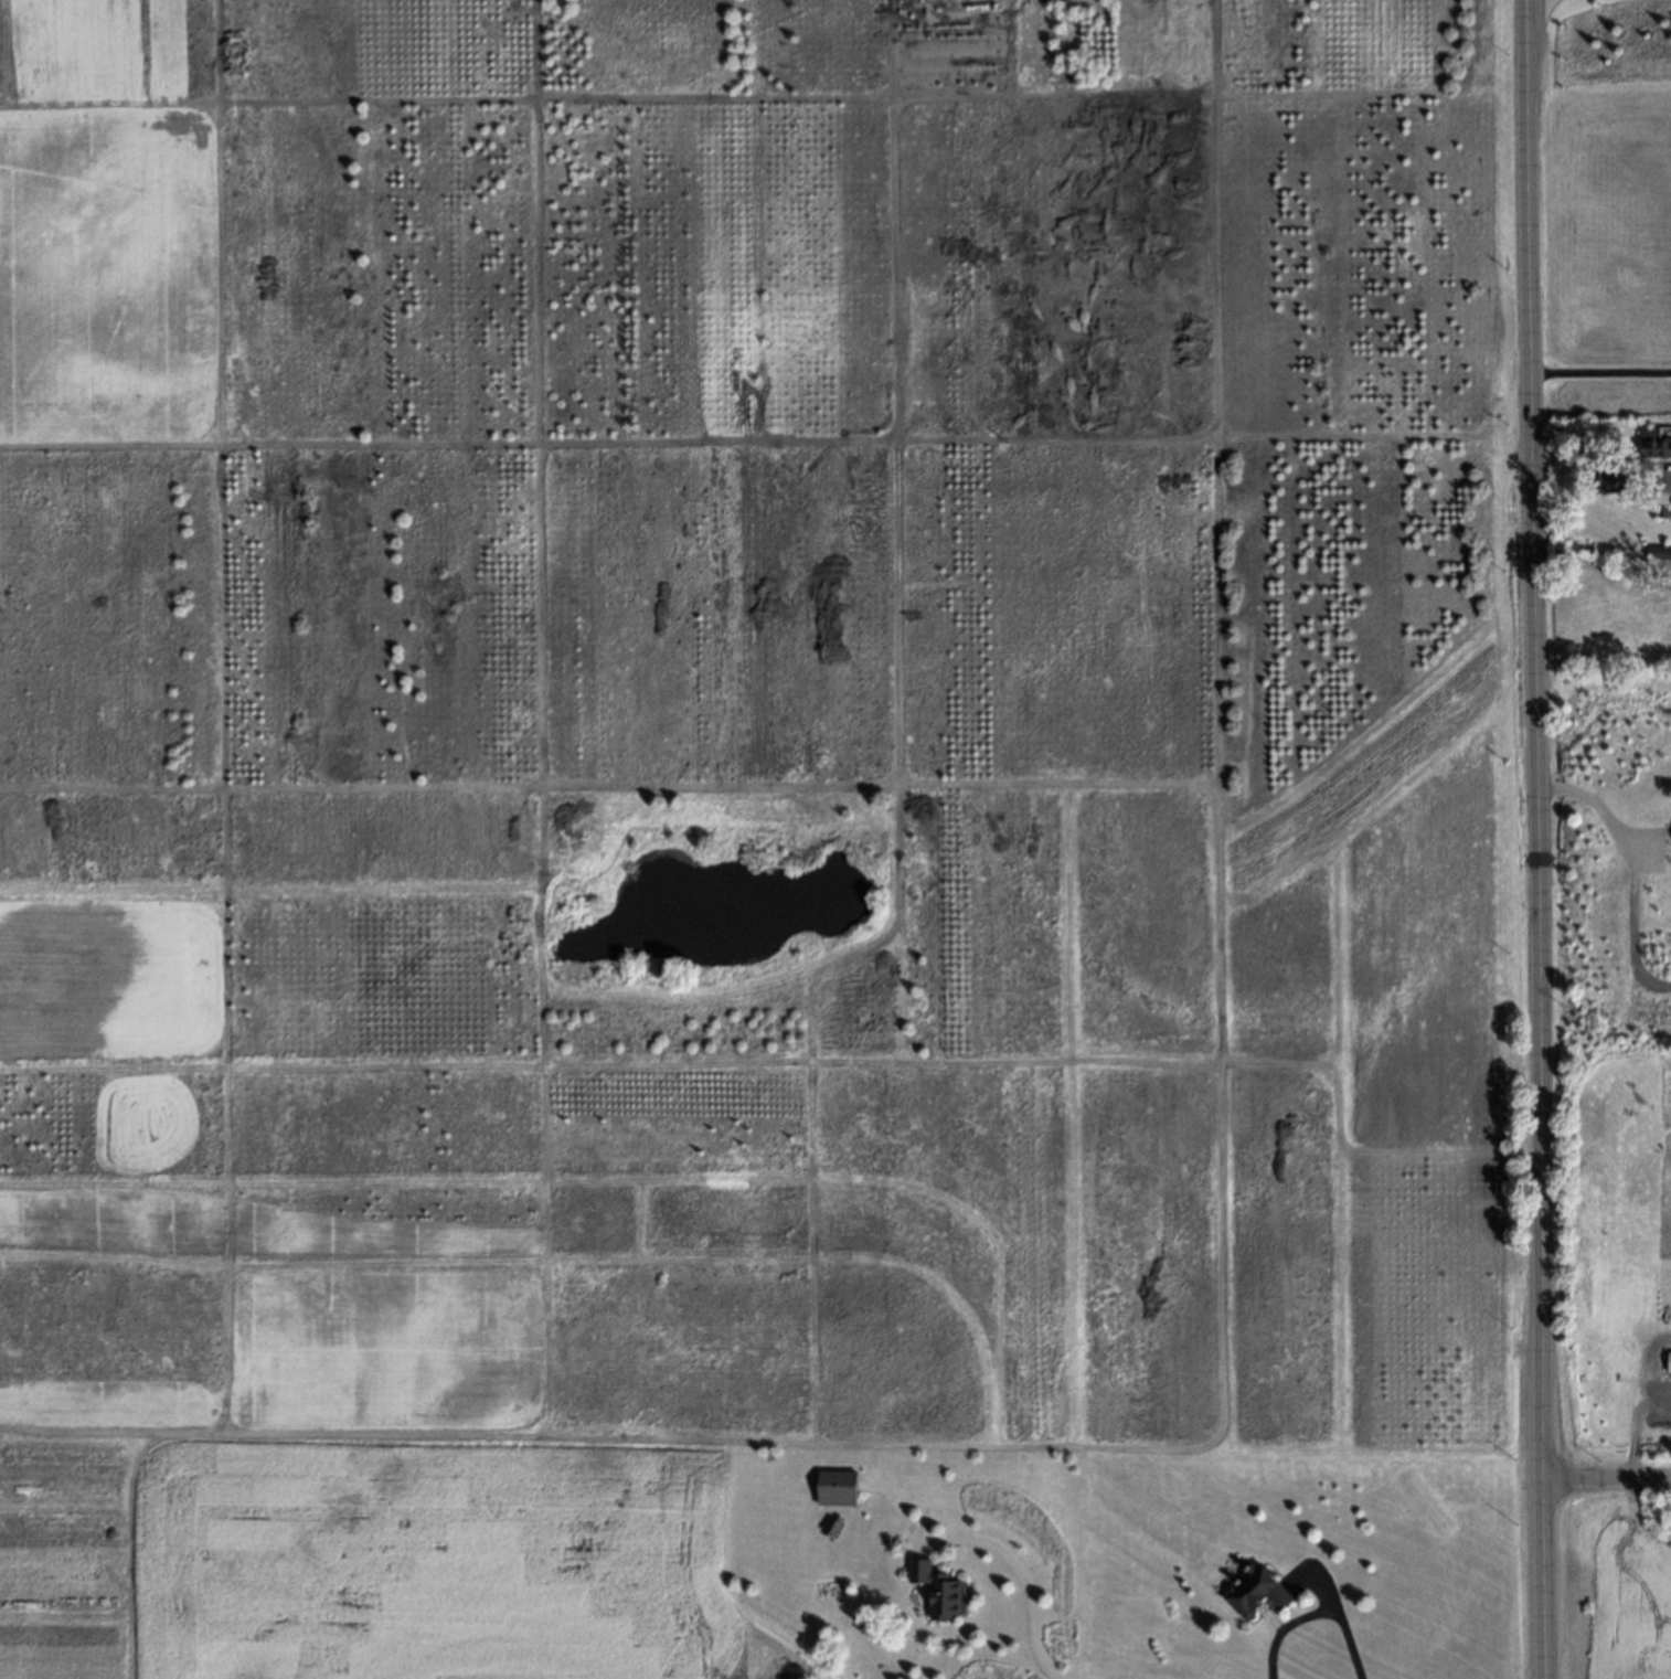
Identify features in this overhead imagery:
road: (1598, 373)
building: (1653, 440)
road: (1607, 450)
building: (1603, 480)
building: (1657, 512)
building: (1654, 552)
road: (1599, 810)
road: (1534, 839)
road: (1607, 1478)
building: (838, 1486)
road: (989, 1547)
building: (936, 1586)
building: (1254, 1593)
road: (1315, 1612)

